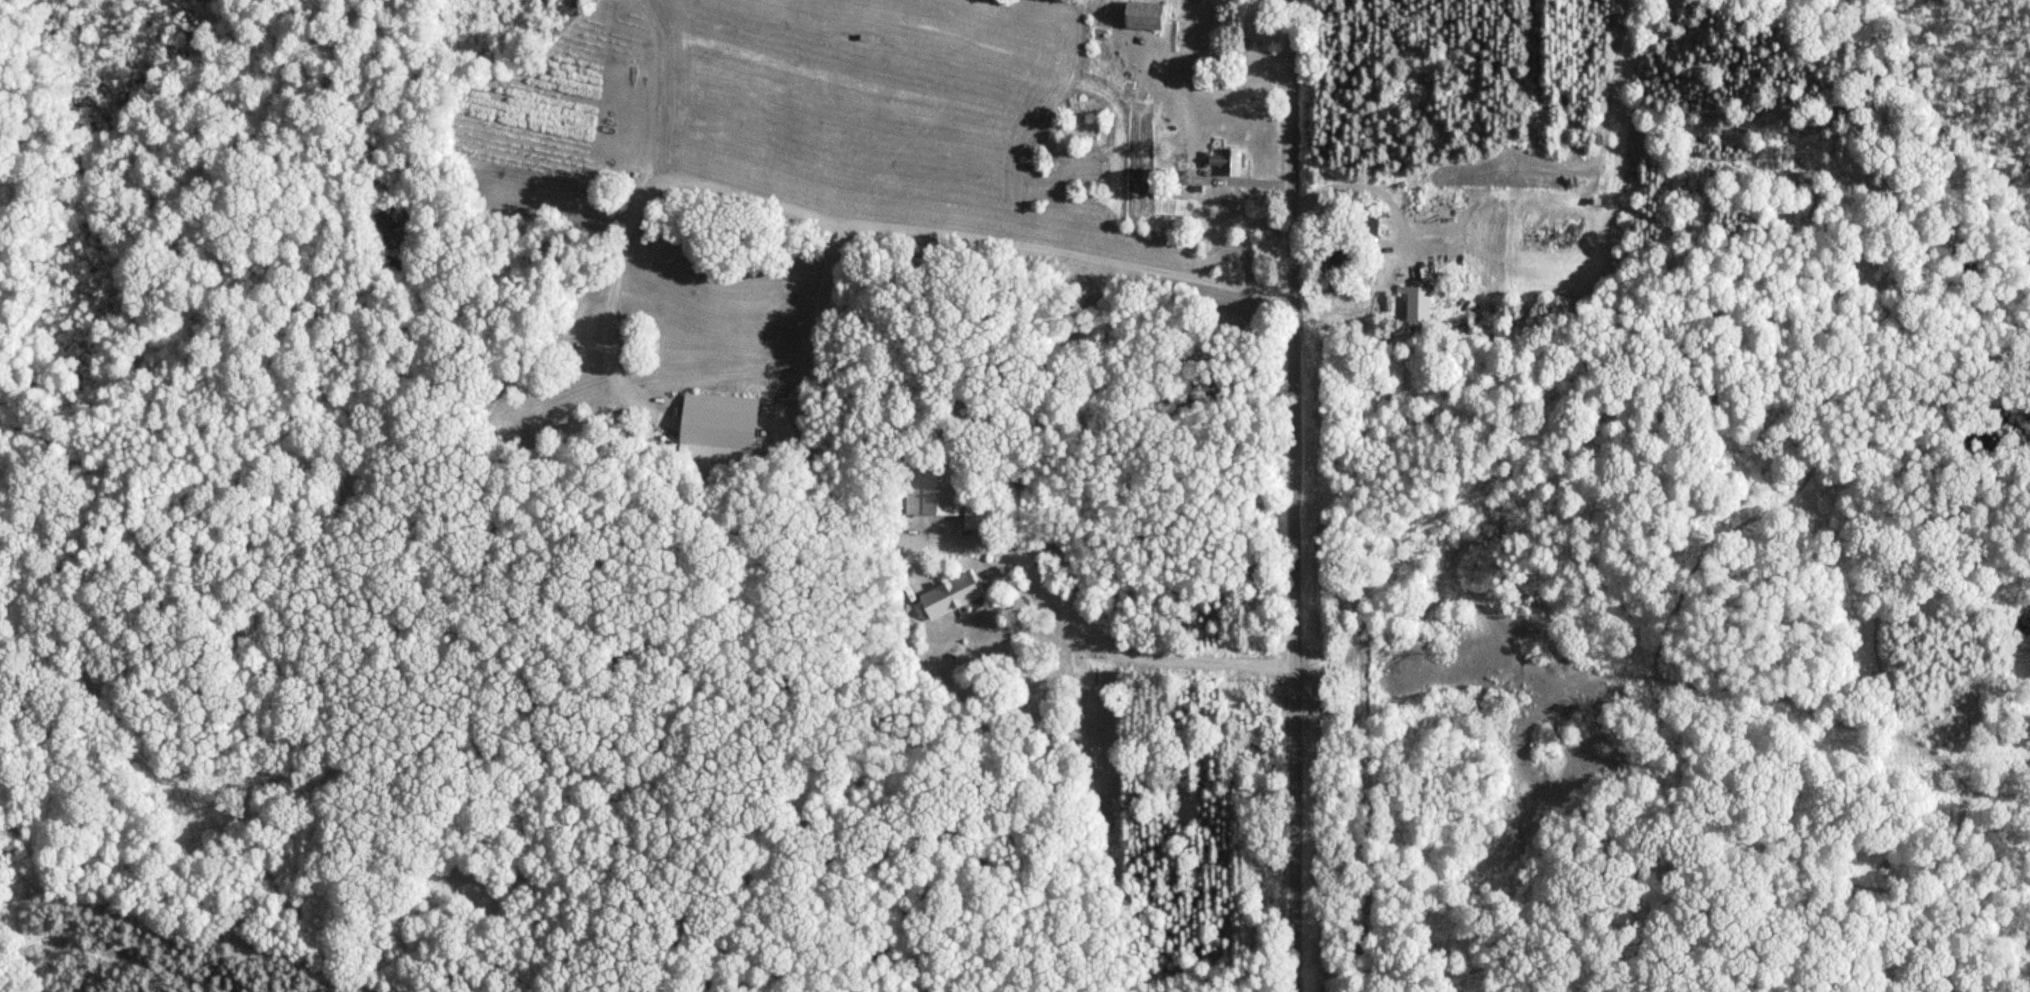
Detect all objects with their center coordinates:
building: (1148, 16)
building: (1225, 160)
road: (713, 188)
road: (1373, 192)
building: (1416, 302)
building: (720, 420)
road: (1299, 495)
building: (974, 515)
building: (952, 596)
road: (1111, 642)

